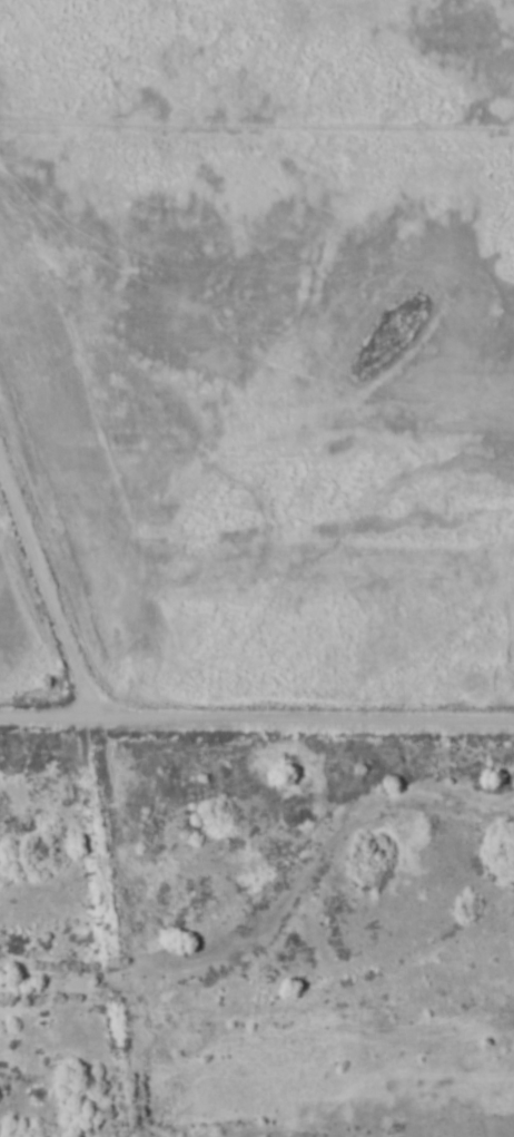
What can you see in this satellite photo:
road: (257, 704)

